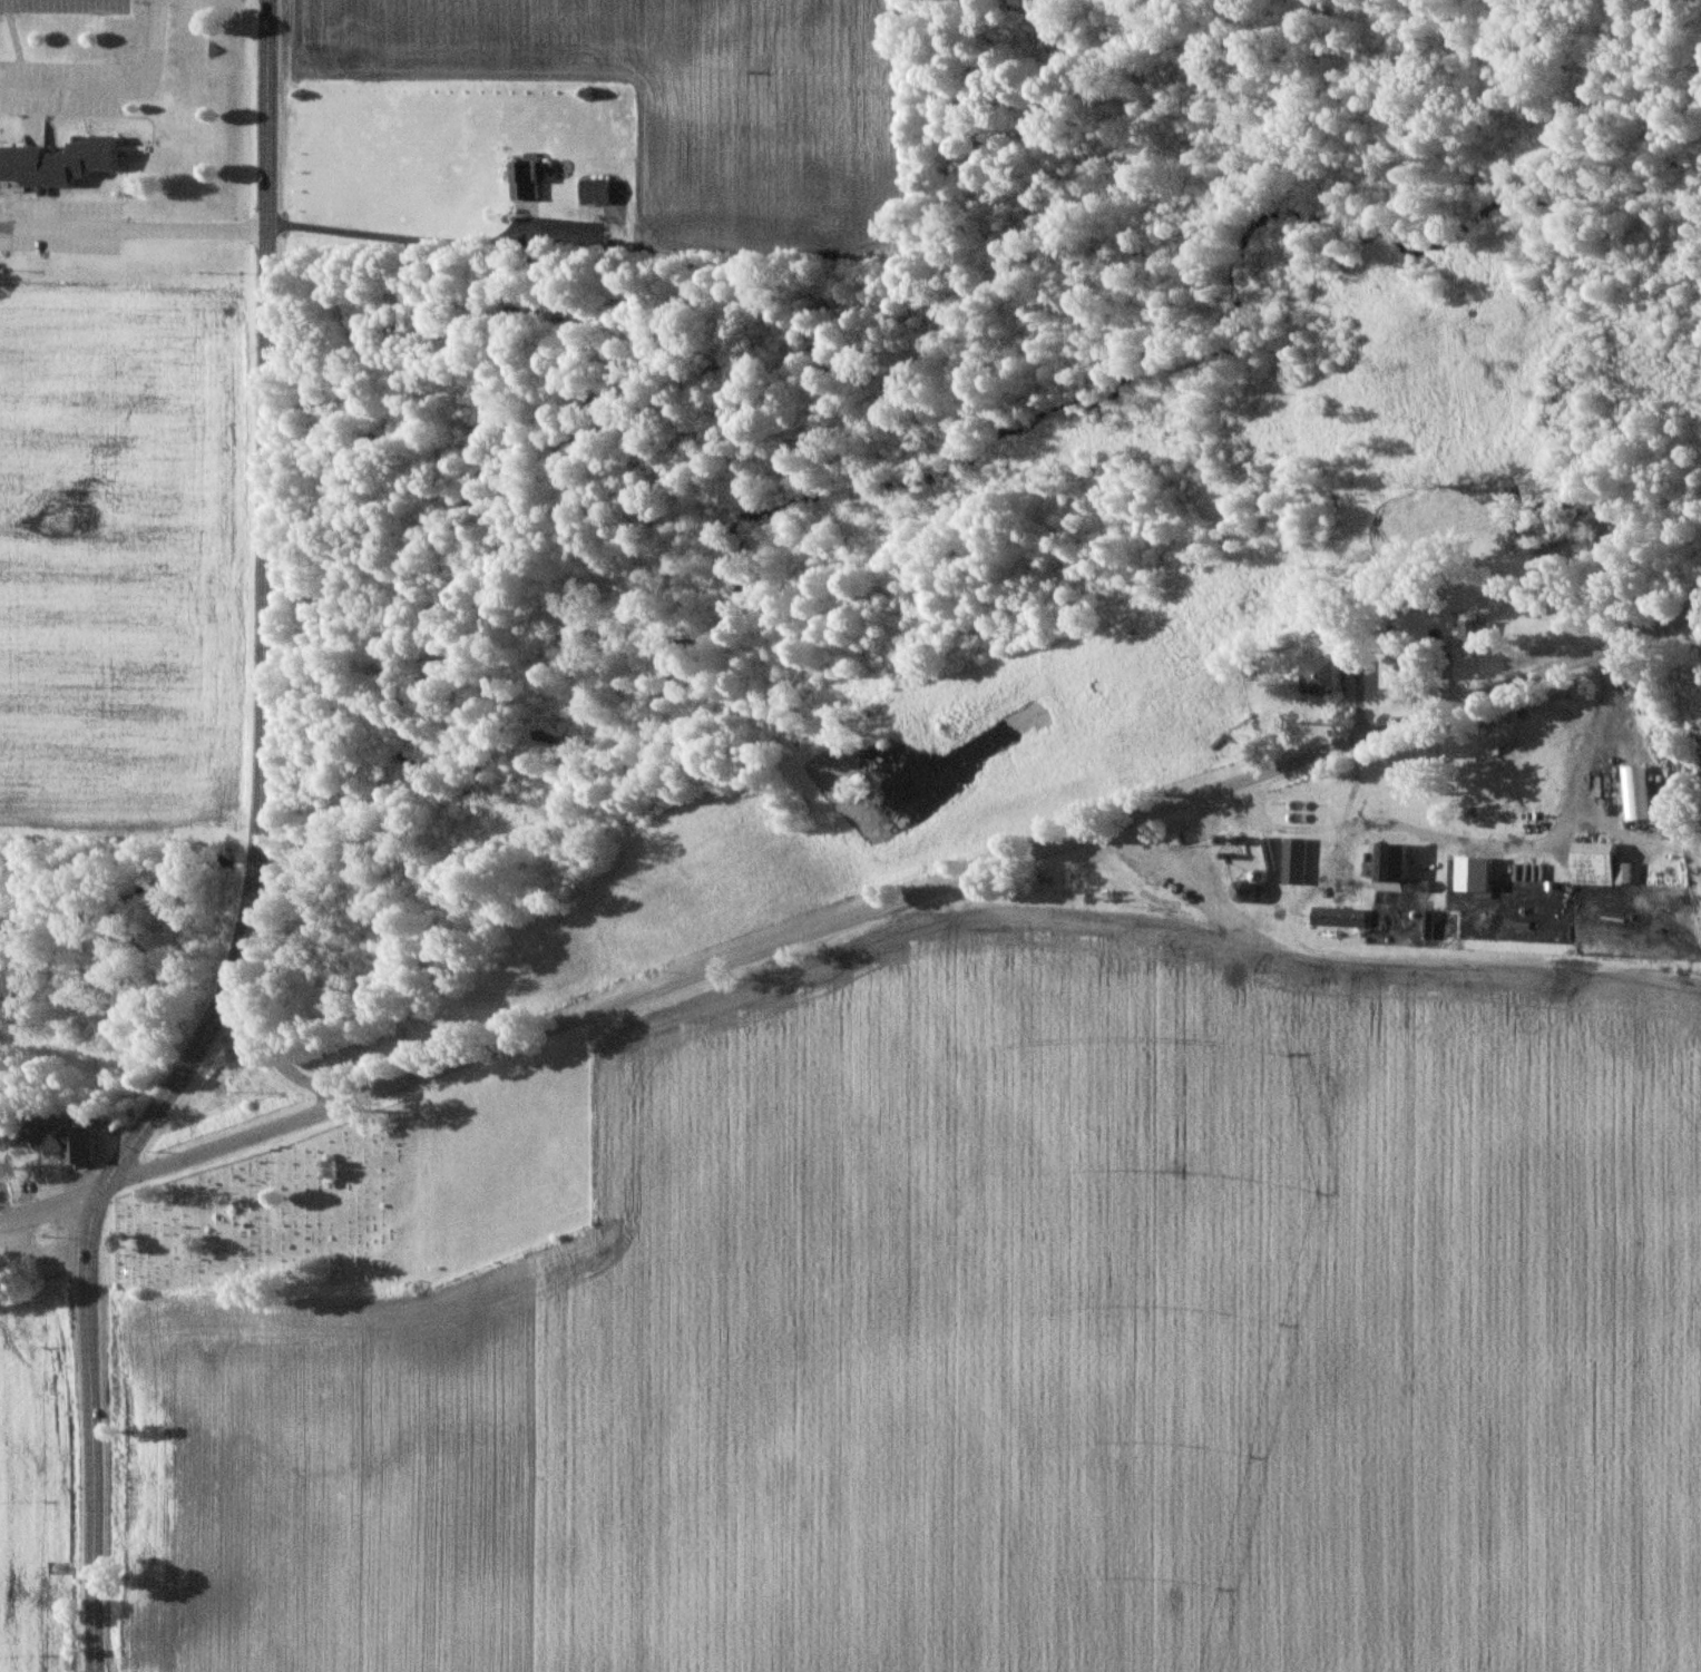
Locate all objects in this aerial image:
road: (115, 87)
building: (55, 165)
building: (522, 182)
building: (593, 192)
road: (130, 228)
road: (403, 239)
building: (1475, 630)
building: (1321, 675)
road: (258, 859)
building: (1293, 861)
building: (1386, 861)
building: (1592, 863)
building: (1337, 917)
road: (852, 918)
road: (272, 1058)
building: (68, 1142)
park: (287, 1219)

